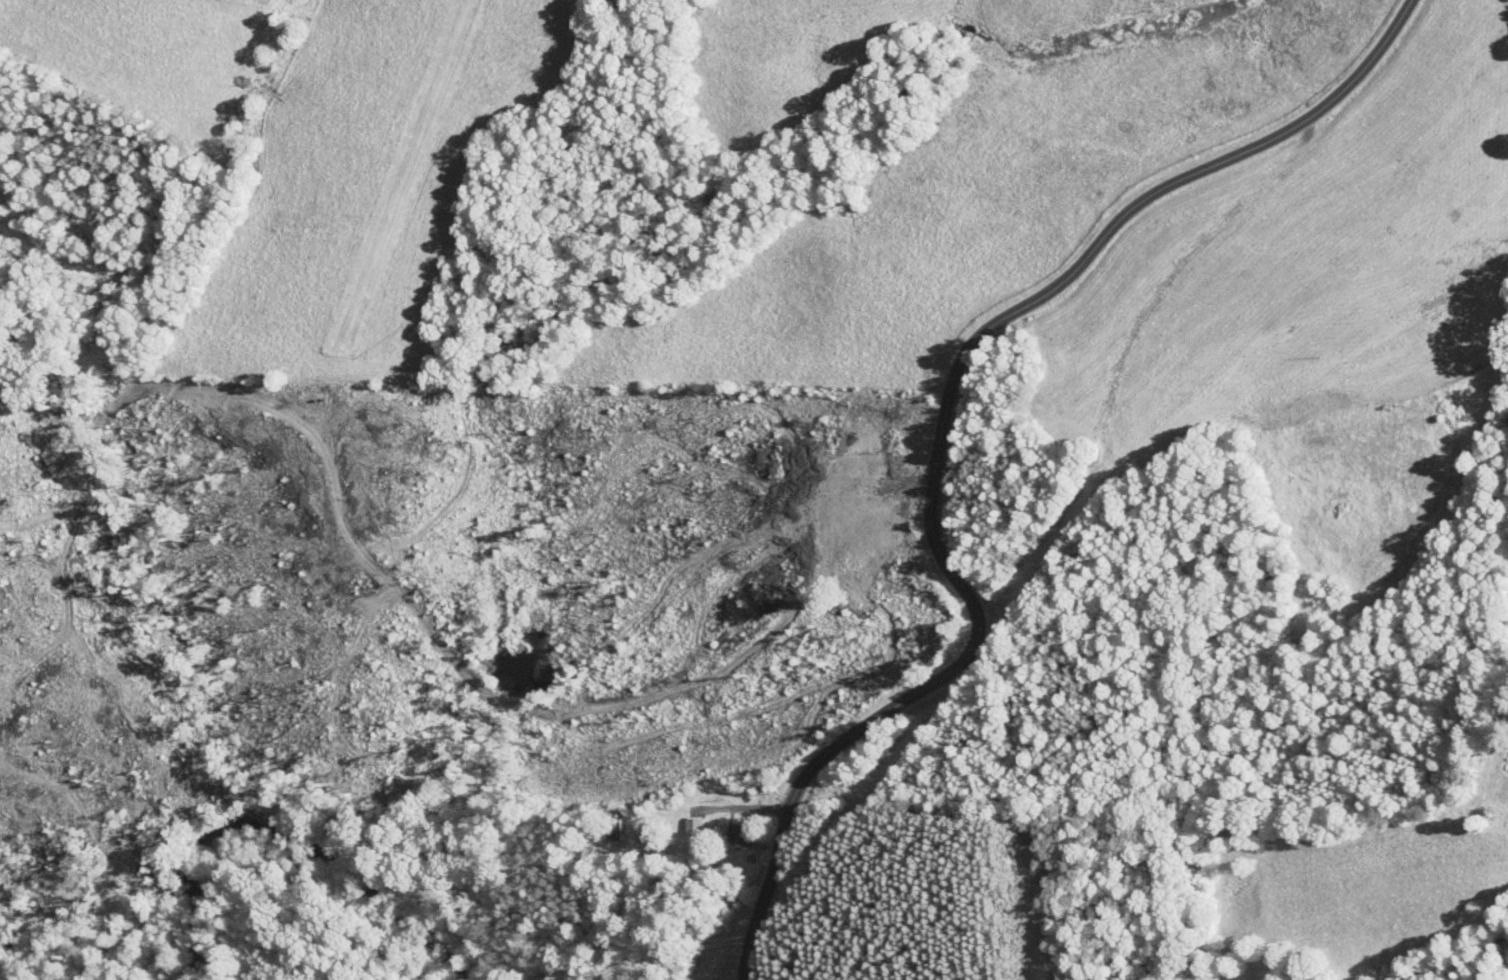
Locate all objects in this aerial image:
road: (937, 444)
building: (681, 816)
building: (726, 829)

